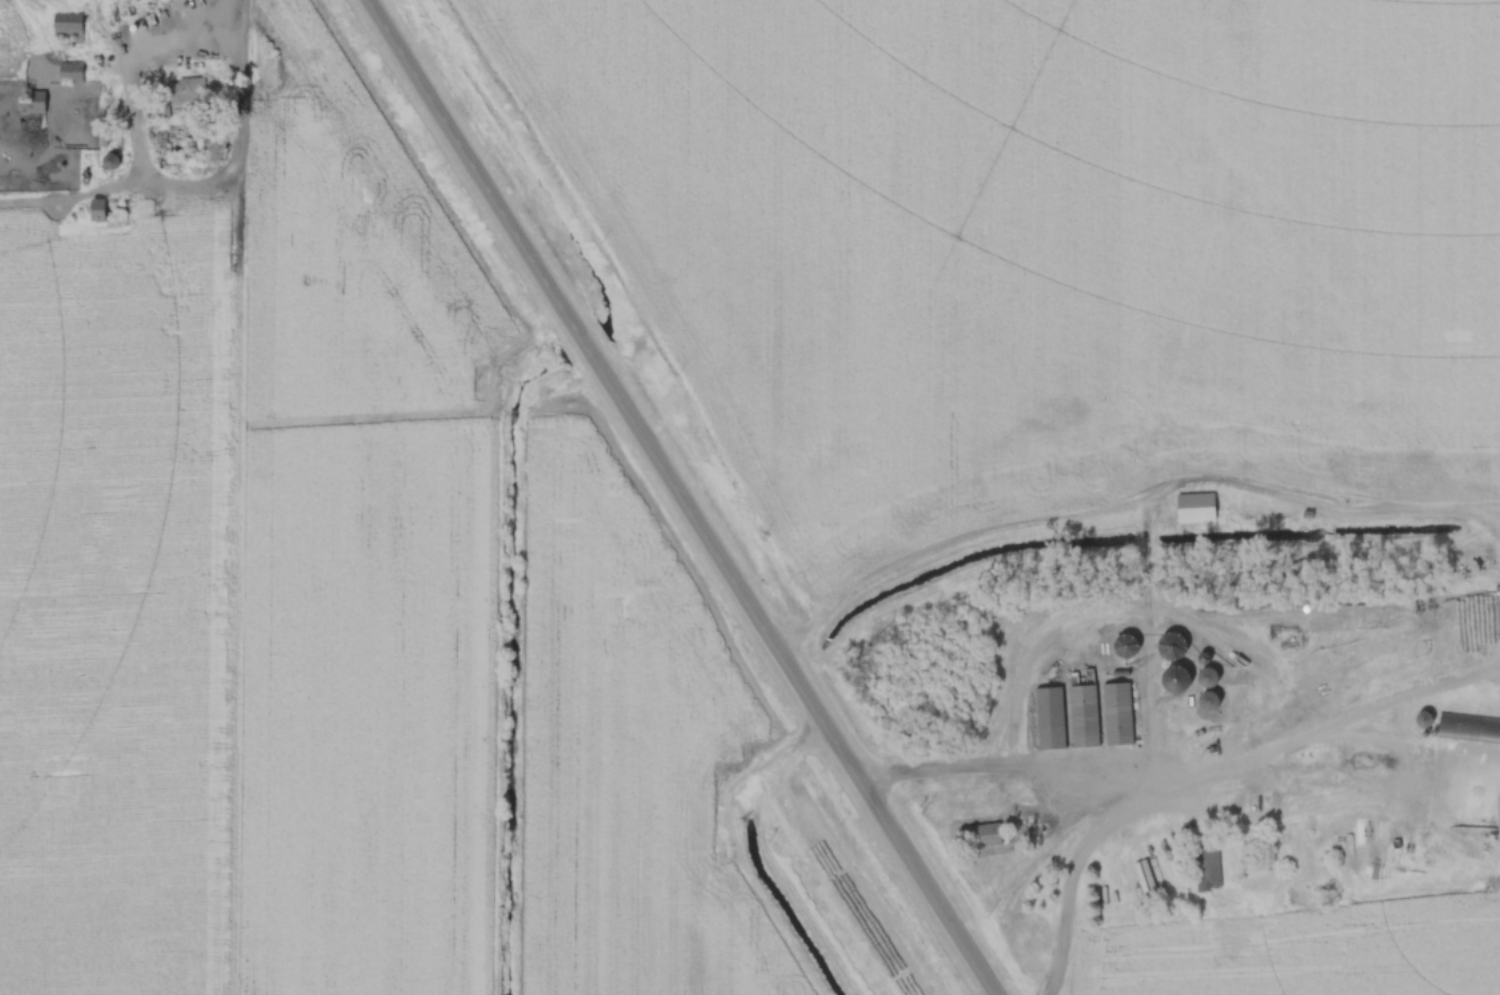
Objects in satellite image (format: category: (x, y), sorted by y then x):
building: (65, 29)
building: (67, 73)
building: (170, 97)
building: (30, 111)
road: (155, 134)
building: (107, 161)
building: (94, 210)
road: (239, 497)
road: (678, 497)
building: (1192, 509)
building: (1473, 593)
building: (1122, 646)
building: (1168, 647)
building: (1203, 678)
building: (1205, 702)
building: (1467, 727)
road: (1010, 771)
road: (1241, 819)
building: (977, 837)
building: (1211, 880)

